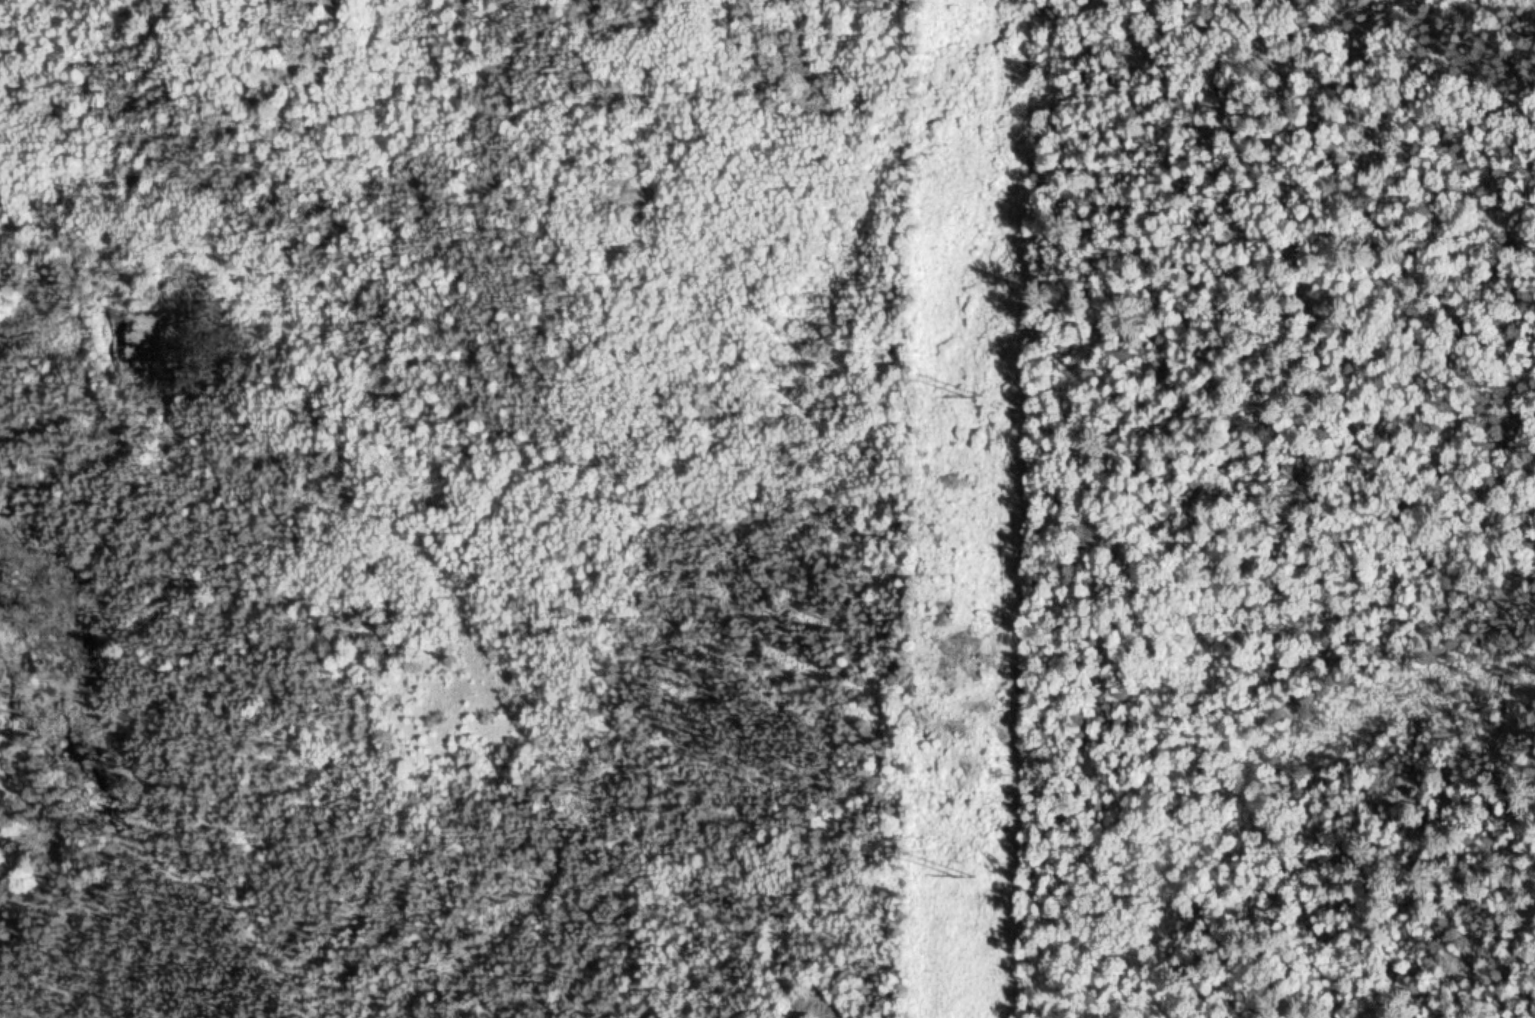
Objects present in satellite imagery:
power tower: (978, 392)
power tower: (970, 872)

